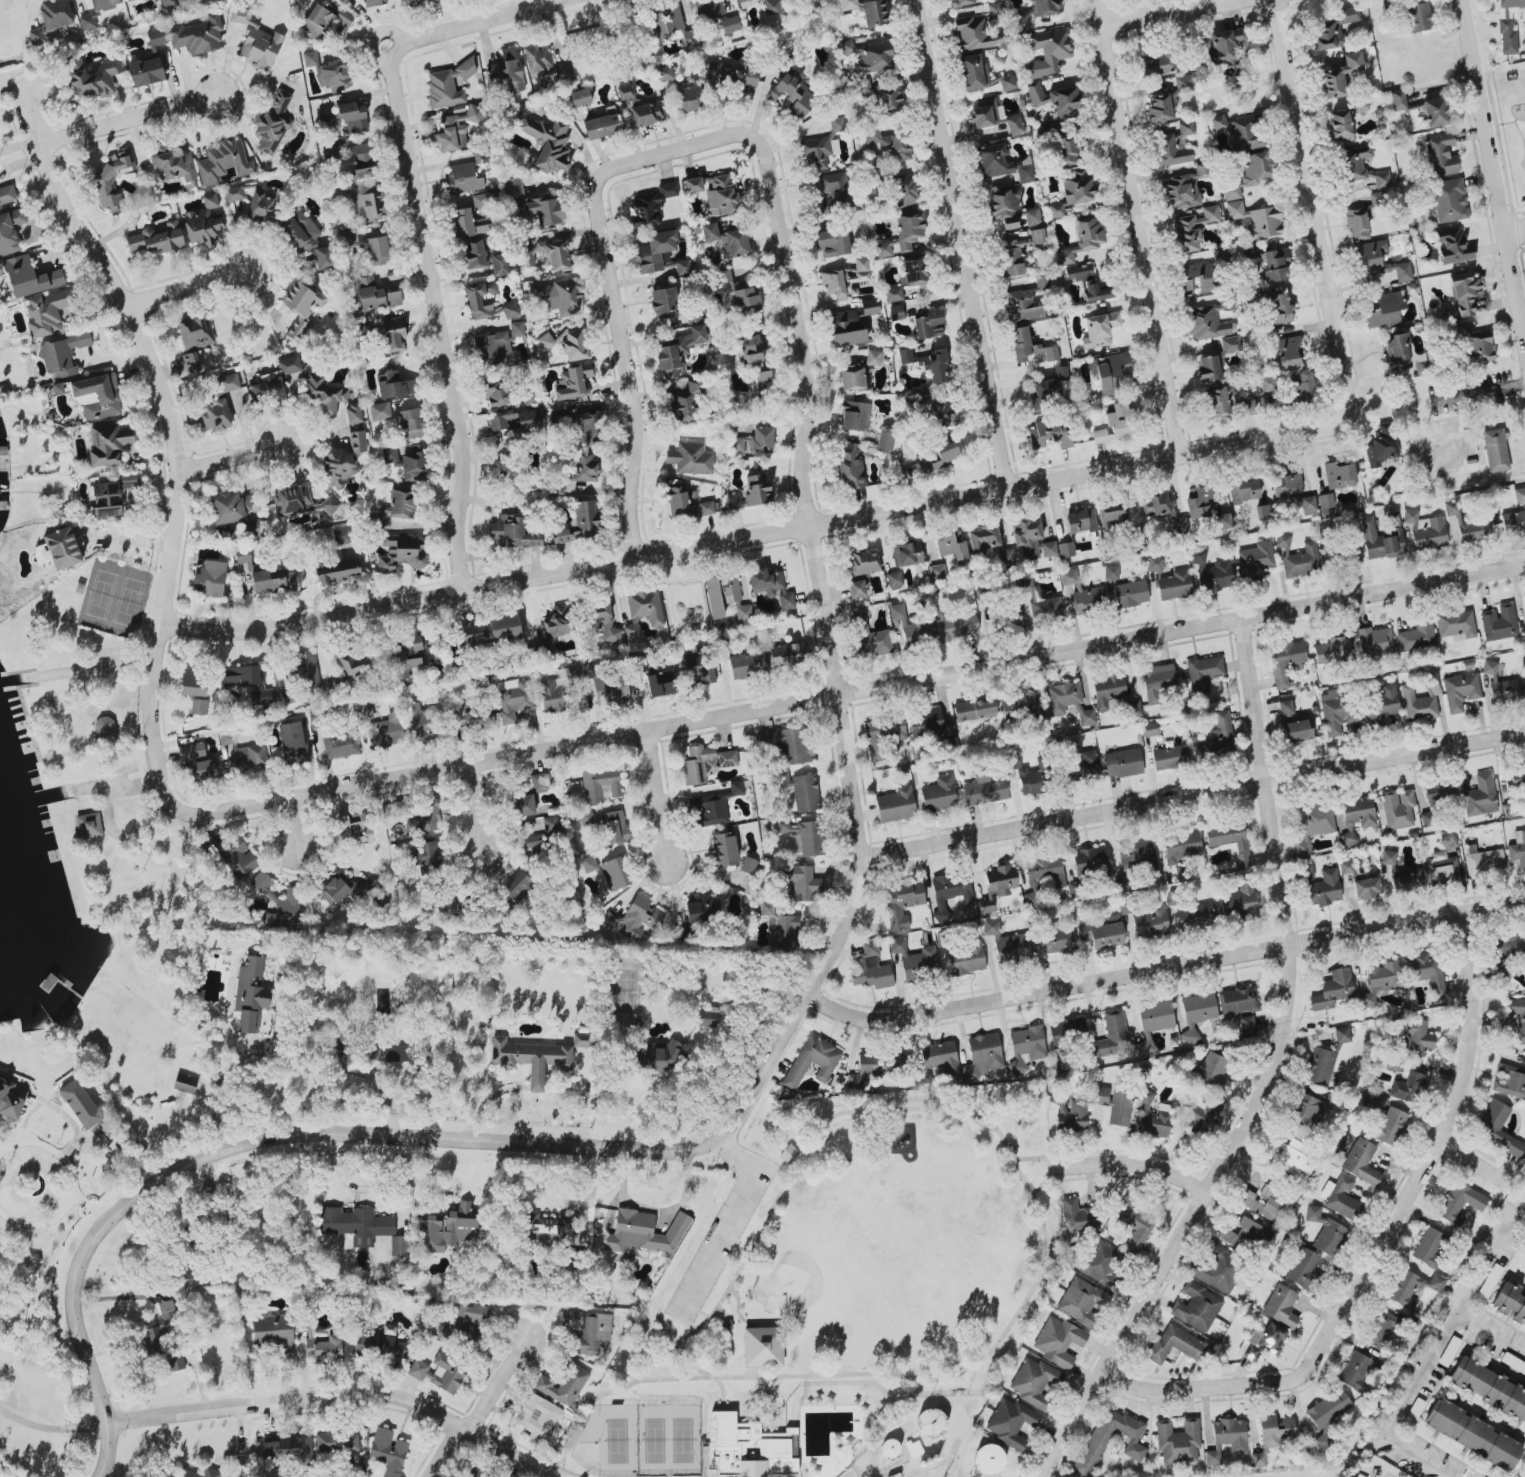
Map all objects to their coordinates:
building: (413, 1)
building: (743, 1)
building: (374, 2)
building: (103, 3)
building: (847, 5)
building: (771, 6)
building: (1045, 7)
building: (708, 8)
road: (1149, 10)
building: (873, 12)
building: (55, 13)
building: (1417, 15)
building: (324, 19)
building: (1022, 20)
building: (88, 21)
building: (667, 24)
building: (729, 24)
building: (1507, 26)
building: (1335, 27)
building: (972, 32)
road: (440, 34)
building: (198, 35)
building: (36, 36)
building: (156, 37)
building: (256, 40)
building: (1222, 45)
building: (1047, 52)
building: (868, 56)
building: (310, 58)
building: (537, 58)
building: (1156, 64)
building: (505, 69)
building: (563, 70)
building: (145, 71)
building: (973, 72)
building: (664, 73)
building: (1339, 75)
building: (334, 76)
building: (735, 78)
building: (1229, 78)
building: (95, 79)
building: (1007, 82)
building: (1183, 83)
building: (448, 84)
building: (1036, 93)
building: (793, 95)
building: (884, 95)
building: (579, 97)
building: (689, 98)
building: (1398, 99)
building: (1064, 102)
building: (1161, 108)
road: (144, 112)
building: (1434, 112)
building: (647, 113)
building: (985, 113)
building: (352, 116)
building: (272, 124)
building: (1014, 125)
building: (602, 126)
building: (1340, 126)
building: (454, 129)
building: (1237, 130)
building: (545, 141)
building: (889, 144)
building: (1172, 144)
building: (1067, 152)
building: (1440, 153)
building: (353, 158)
building: (223, 160)
building: (1001, 163)
building: (174, 164)
building: (1360, 167)
road: (1492, 170)
building: (1247, 176)
building: (463, 177)
building: (112, 179)
building: (834, 188)
building: (1182, 189)
building: (904, 190)
building: (715, 192)
building: (1072, 193)
building: (7, 195)
building: (1449, 200)
building: (253, 202)
building: (366, 202)
building: (533, 205)
building: (651, 205)
building: (1361, 217)
building: (1254, 219)
building: (204, 221)
building: (469, 223)
building: (820, 224)
road: (1128, 224)
building: (907, 228)
building: (1192, 228)
building: (10, 231)
road: (1515, 231)
building: (300, 232)
building: (1089, 232)
building: (349, 237)
building: (156, 238)
building: (726, 240)
road: (594, 242)
building: (832, 242)
road: (950, 242)
building: (1452, 246)
building: (883, 249)
building: (378, 250)
building: (656, 250)
building: (1250, 251)
building: (475, 253)
building: (548, 254)
building: (323, 256)
building: (1065, 256)
building: (1378, 260)
building: (498, 264)
building: (1274, 265)
building: (912, 271)
building: (29, 277)
building: (843, 279)
building: (1194, 279)
road: (200, 283)
building: (1088, 283)
building: (893, 293)
building: (1464, 293)
building: (376, 295)
building: (557, 296)
building: (480, 299)
building: (745, 300)
building: (662, 303)
building: (301, 305)
building: (1021, 305)
building: (869, 307)
building: (1279, 308)
building: (1385, 309)
building: (511, 310)
road: (1522, 311)
building: (45, 312)
building: (896, 312)
building: (1206, 322)
building: (928, 325)
building: (847, 328)
building: (1098, 329)
building: (195, 332)
building: (393, 335)
building: (546, 341)
building: (499, 343)
building: (574, 345)
building: (1030, 345)
building: (1398, 348)
road: (433, 349)
building: (678, 350)
building: (750, 350)
building: (1286, 352)
building: (62, 353)
building: (904, 356)
building: (873, 357)
building: (190, 362)
building: (933, 364)
building: (1209, 368)
building: (1112, 372)
building: (853, 376)
building: (277, 379)
building: (573, 381)
building: (763, 381)
building: (393, 385)
building: (1050, 385)
building: (1266, 385)
building: (1302, 387)
building: (495, 393)
building: (96, 396)
building: (331, 400)
building: (1215, 401)
building: (225, 403)
building: (682, 406)
building: (379, 411)
building: (942, 412)
building: (855, 416)
building: (410, 422)
building: (515, 423)
building: (1114, 424)
road: (166, 429)
building: (586, 429)
building: (1049, 432)
building: (761, 439)
building: (885, 440)
building: (357, 442)
building: (107, 443)
building: (736, 446)
building: (1381, 446)
building: (1495, 450)
road: (239, 452)
building: (390, 455)
building: (939, 459)
building: (338, 466)
building: (413, 466)
building: (849, 468)
building: (578, 472)
building: (1339, 475)
building: (1286, 486)
road: (967, 490)
building: (1243, 490)
building: (751, 492)
building: (111, 494)
building: (1326, 499)
building: (300, 502)
building: (1197, 502)
building: (1157, 504)
building: (1307, 504)
building: (228, 507)
building: (395, 507)
building: (1515, 514)
building: (1113, 517)
building: (1080, 521)
building: (1222, 521)
building: (580, 523)
building: (1468, 524)
building: (1179, 525)
building: (1425, 530)
building: (511, 533)
building: (342, 536)
building: (983, 538)
building: (1380, 540)
building: (1030, 541)
building: (952, 547)
building: (61, 548)
building: (1065, 549)
building: (907, 552)
building: (401, 553)
building: (242, 556)
building: (1345, 556)
building: (1253, 557)
building: (1296, 557)
building: (863, 562)
building: (1154, 563)
building: (337, 570)
building: (936, 572)
building: (1111, 572)
building: (1209, 572)
building: (208, 578)
building: (893, 579)
building: (273, 580)
building: (1172, 584)
building: (771, 586)
building: (857, 588)
building: (1082, 593)
building: (1130, 593)
building: (1524, 599)
building: (1036, 604)
building: (645, 606)
building: (602, 622)
building: (1499, 622)
building: (556, 623)
building: (956, 624)
building: (1456, 624)
building: (911, 626)
building: (504, 628)
building: (632, 629)
building: (471, 635)
building: (1416, 635)
building: (868, 636)
building: (1374, 642)
building: (1332, 650)
building: (786, 654)
building: (405, 655)
building: (1524, 655)
building: (1284, 662)
building: (746, 664)
building: (350, 665)
building: (701, 666)
building: (306, 667)
building: (1489, 667)
road: (86, 669)
building: (1203, 672)
road: (824, 678)
building: (1157, 681)
building: (193, 682)
building: (246, 682)
building: (659, 684)
building: (606, 685)
road: (851, 688)
building: (1460, 690)
building: (1504, 692)
building: (551, 695)
building: (1113, 695)
building: (513, 697)
building: (1068, 702)
building: (1017, 705)
building: (198, 706)
building: (1285, 707)
building: (974, 709)
building: (363, 711)
building: (418, 722)
building: (926, 723)
building: (105, 728)
building: (1149, 729)
building: (1297, 731)
building: (385, 733)
building: (882, 734)
building: (1217, 735)
building: (292, 743)
building: (788, 744)
building: (246, 754)
building: (1170, 757)
building: (199, 762)
building: (705, 762)
building: (1122, 762)
building: (1083, 765)
building: (1029, 780)
building: (1515, 780)
building: (600, 783)
building: (735, 787)
building: (799, 788)
building: (985, 789)
building: (939, 794)
building: (530, 795)
road: (1189, 796)
building: (1480, 796)
building: (896, 804)
building: (710, 809)
building: (1395, 809)
road: (650, 812)
building: (1426, 813)
building: (425, 818)
building: (1356, 819)
road: (473, 821)
building: (1311, 824)
building: (88, 825)
building: (615, 826)
road: (295, 827)
building: (354, 827)
building: (802, 836)
building: (1230, 840)
building: (211, 843)
building: (1181, 844)
building: (725, 848)
building: (1517, 848)
building: (428, 856)
building: (1388, 857)
building: (237, 858)
building: (1089, 861)
building: (1483, 862)
building: (589, 863)
building: (1350, 866)
building: (1439, 866)
building: (1045, 870)
building: (1307, 871)
building: (615, 873)
building: (999, 880)
building: (800, 881)
building: (1406, 881)
building: (517, 887)
building: (1366, 887)
building: (1324, 888)
building: (349, 889)
building: (952, 889)
building: (1239, 901)
building: (901, 903)
building: (702, 909)
building: (1194, 916)
building: (633, 918)
building: (1150, 922)
building: (779, 925)
building: (991, 926)
building: (1100, 934)
building: (1053, 939)
building: (1510, 944)
building: (897, 945)
building: (1012, 948)
building: (965, 959)
building: (917, 962)
road: (1161, 966)
building: (870, 968)
building: (1501, 969)
building: (1427, 970)
building: (1383, 975)
building: (1332, 989)
building: (249, 995)
building: (1237, 1000)
building: (1196, 1015)
building: (1518, 1017)
building: (1153, 1022)
building: (1246, 1025)
building: (1069, 1031)
building: (1113, 1034)
building: (701, 1038)
building: (1416, 1038)
building: (580, 1039)
building: (339, 1045)
building: (1025, 1048)
building: (984, 1051)
building: (654, 1055)
building: (940, 1057)
building: (532, 1059)
building: (1323, 1060)
building: (396, 1061)
building: (811, 1061)
building: (64, 1079)
road: (1270, 1079)
building: (1509, 1081)
building: (184, 1083)
building: (1406, 1086)
building: (1217, 1094)
building: (9, 1101)
building: (80, 1103)
building: (1114, 1104)
building: (1306, 1110)
building: (1072, 1116)
building: (1153, 1116)
building: (1390, 1125)
building: (1498, 1128)
road: (278, 1130)
road: (50, 1148)
building: (788, 1155)
building: (1291, 1155)
road: (1470, 1159)
building: (1362, 1162)
road: (1137, 1164)
road: (1413, 1194)
building: (1339, 1196)
building: (1249, 1202)
building: (1460, 1202)
road: (88, 1206)
building: (1079, 1218)
road: (724, 1221)
road: (41, 1223)
building: (1134, 1223)
building: (355, 1224)
building: (549, 1227)
building: (448, 1228)
building: (1323, 1230)
building: (644, 1231)
building: (1245, 1231)
building: (399, 1245)
building: (1428, 1247)
building: (1100, 1259)
building: (1216, 1267)
building: (1302, 1267)
building: (1488, 1282)
building: (1414, 1288)
building: (1506, 1296)
building: (1081, 1301)
building: (1281, 1305)
building: (1197, 1307)
building: (1520, 1313)
building: (463, 1319)
building: (1380, 1326)
building: (587, 1330)
building: (274, 1331)
road: (1489, 1331)
building: (165, 1337)
building: (1058, 1341)
building: (1263, 1341)
building: (388, 1343)
building: (362, 1344)
building: (1173, 1345)
building: (329, 1346)
building: (762, 1346)
road: (1428, 1353)
building: (1356, 1370)
building: (439, 1372)
building: (1471, 1375)
building: (1034, 1380)
building: (564, 1384)
road: (483, 1391)
road: (1166, 1393)
road: (298, 1396)
building: (1506, 1397)
building: (1328, 1408)
building: (538, 1417)
building: (1445, 1417)
building: (1011, 1421)
building: (929, 1423)
building: (1276, 1430)
building: (1230, 1434)
building: (1098, 1439)
building: (1177, 1441)
building: (336, 1443)
building: (1489, 1443)
building: (286, 1447)
building: (749, 1448)
building: (388, 1451)
building: (1212, 1455)
building: (989, 1459)
building: (1258, 1459)
building: (185, 1473)
building: (1357, 1476)

